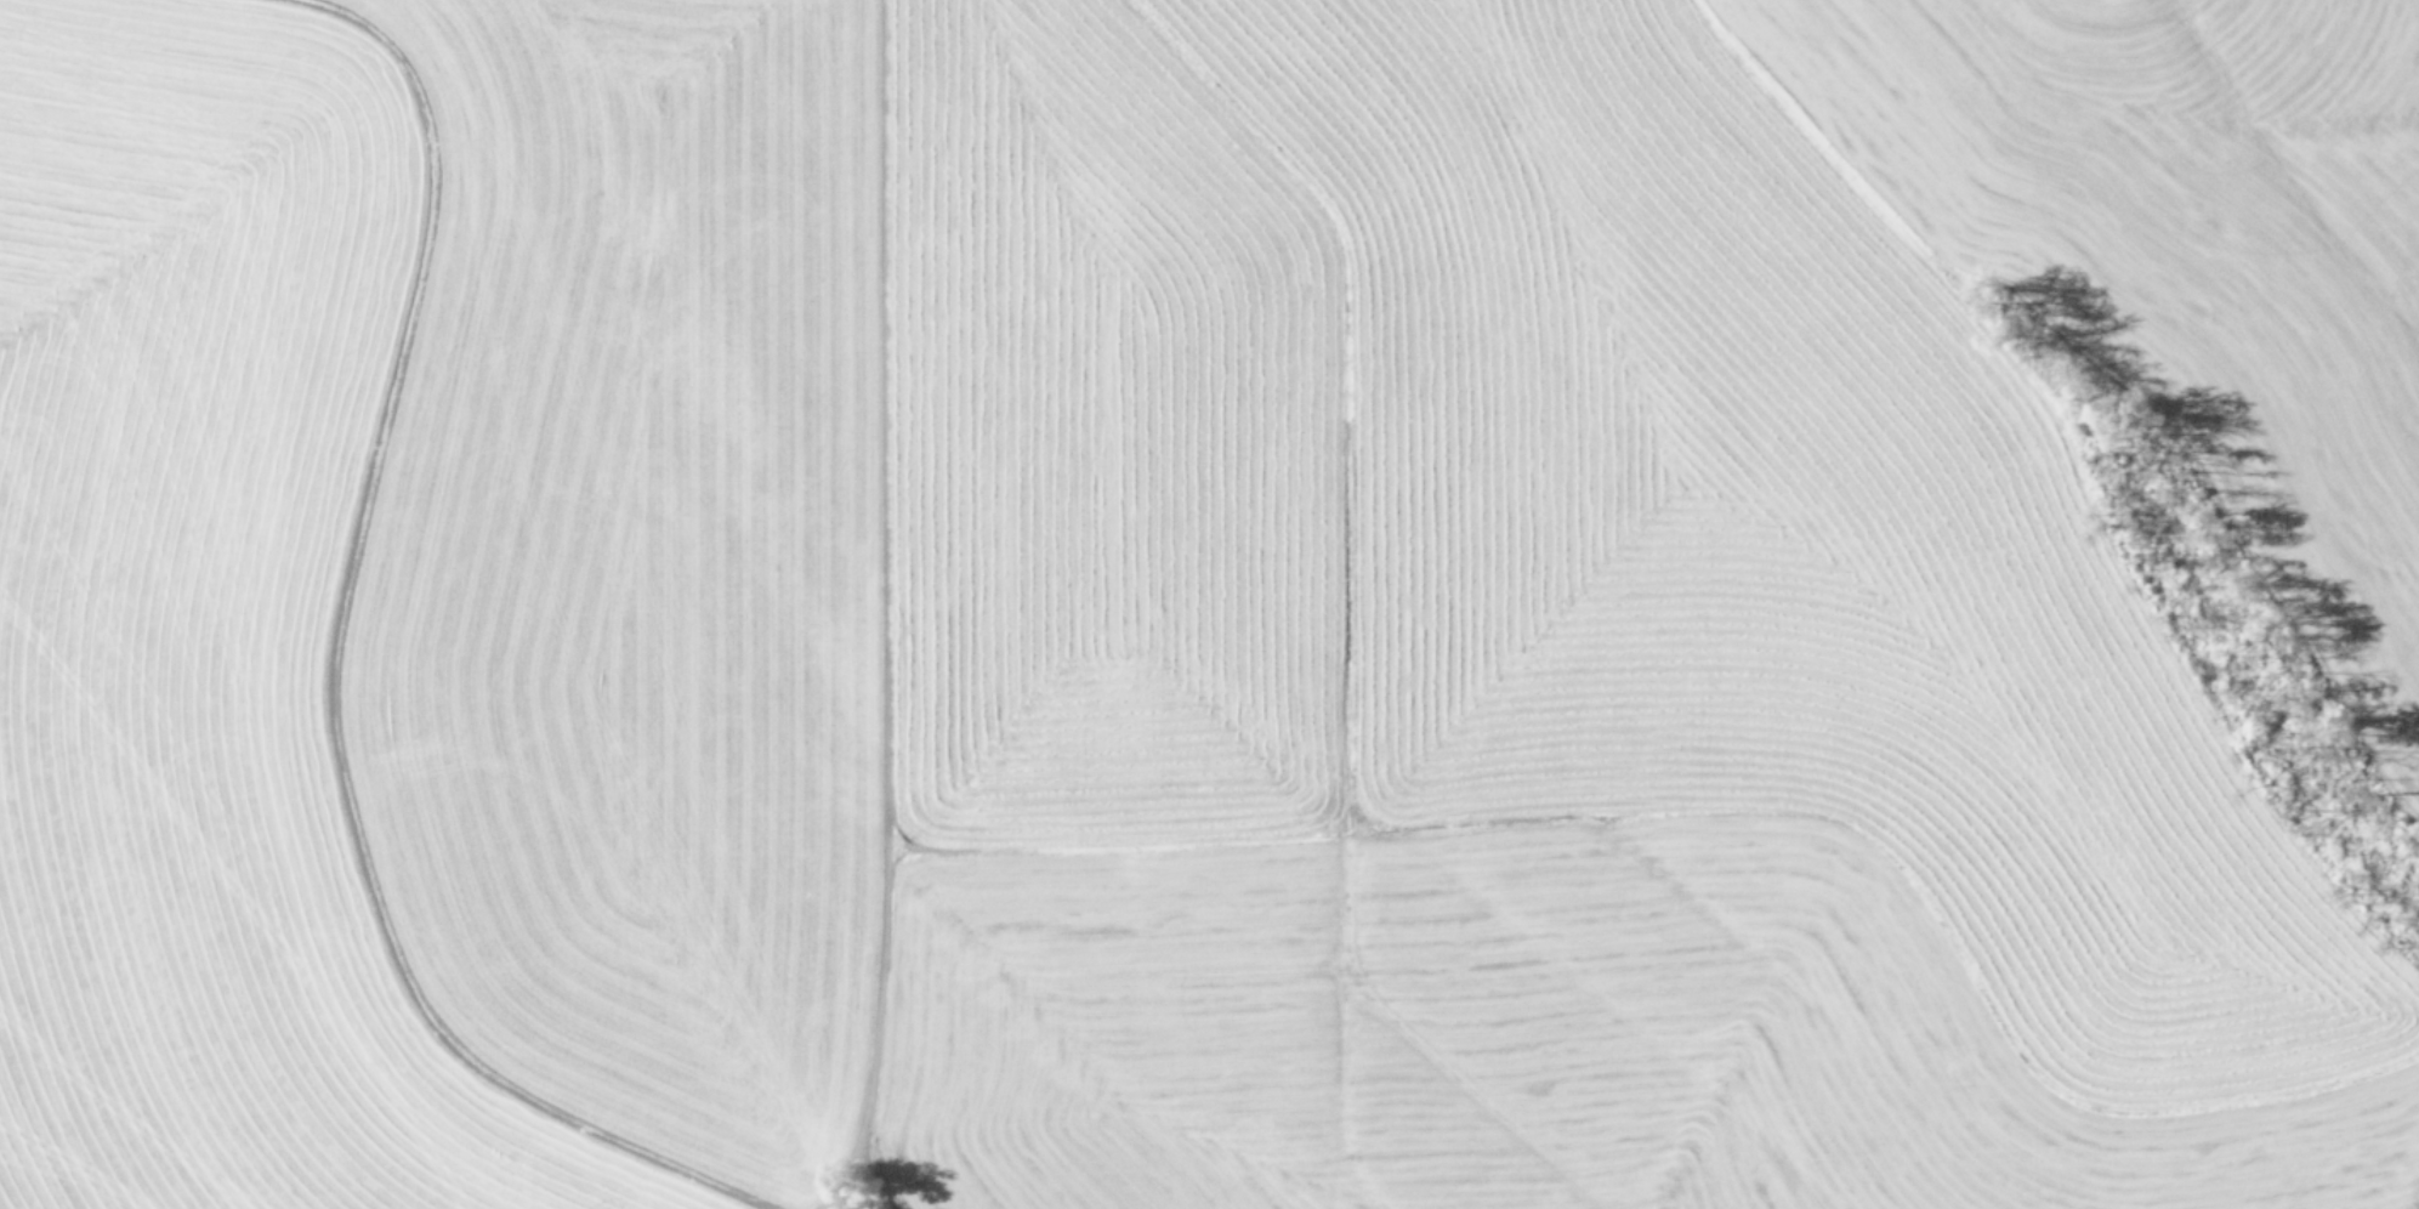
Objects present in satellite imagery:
crop: (1209, 604)

